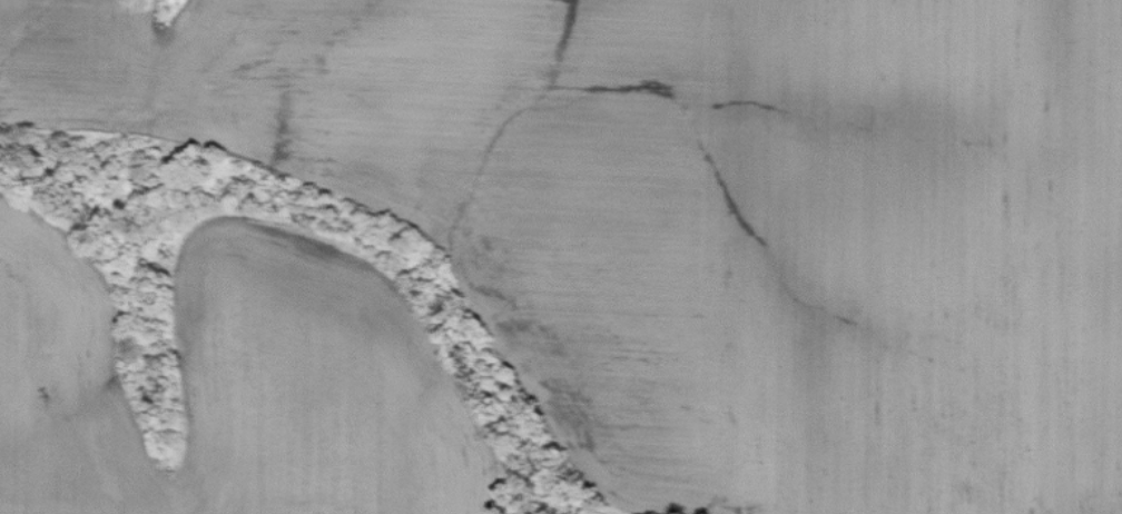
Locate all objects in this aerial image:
road: (106, 89)

